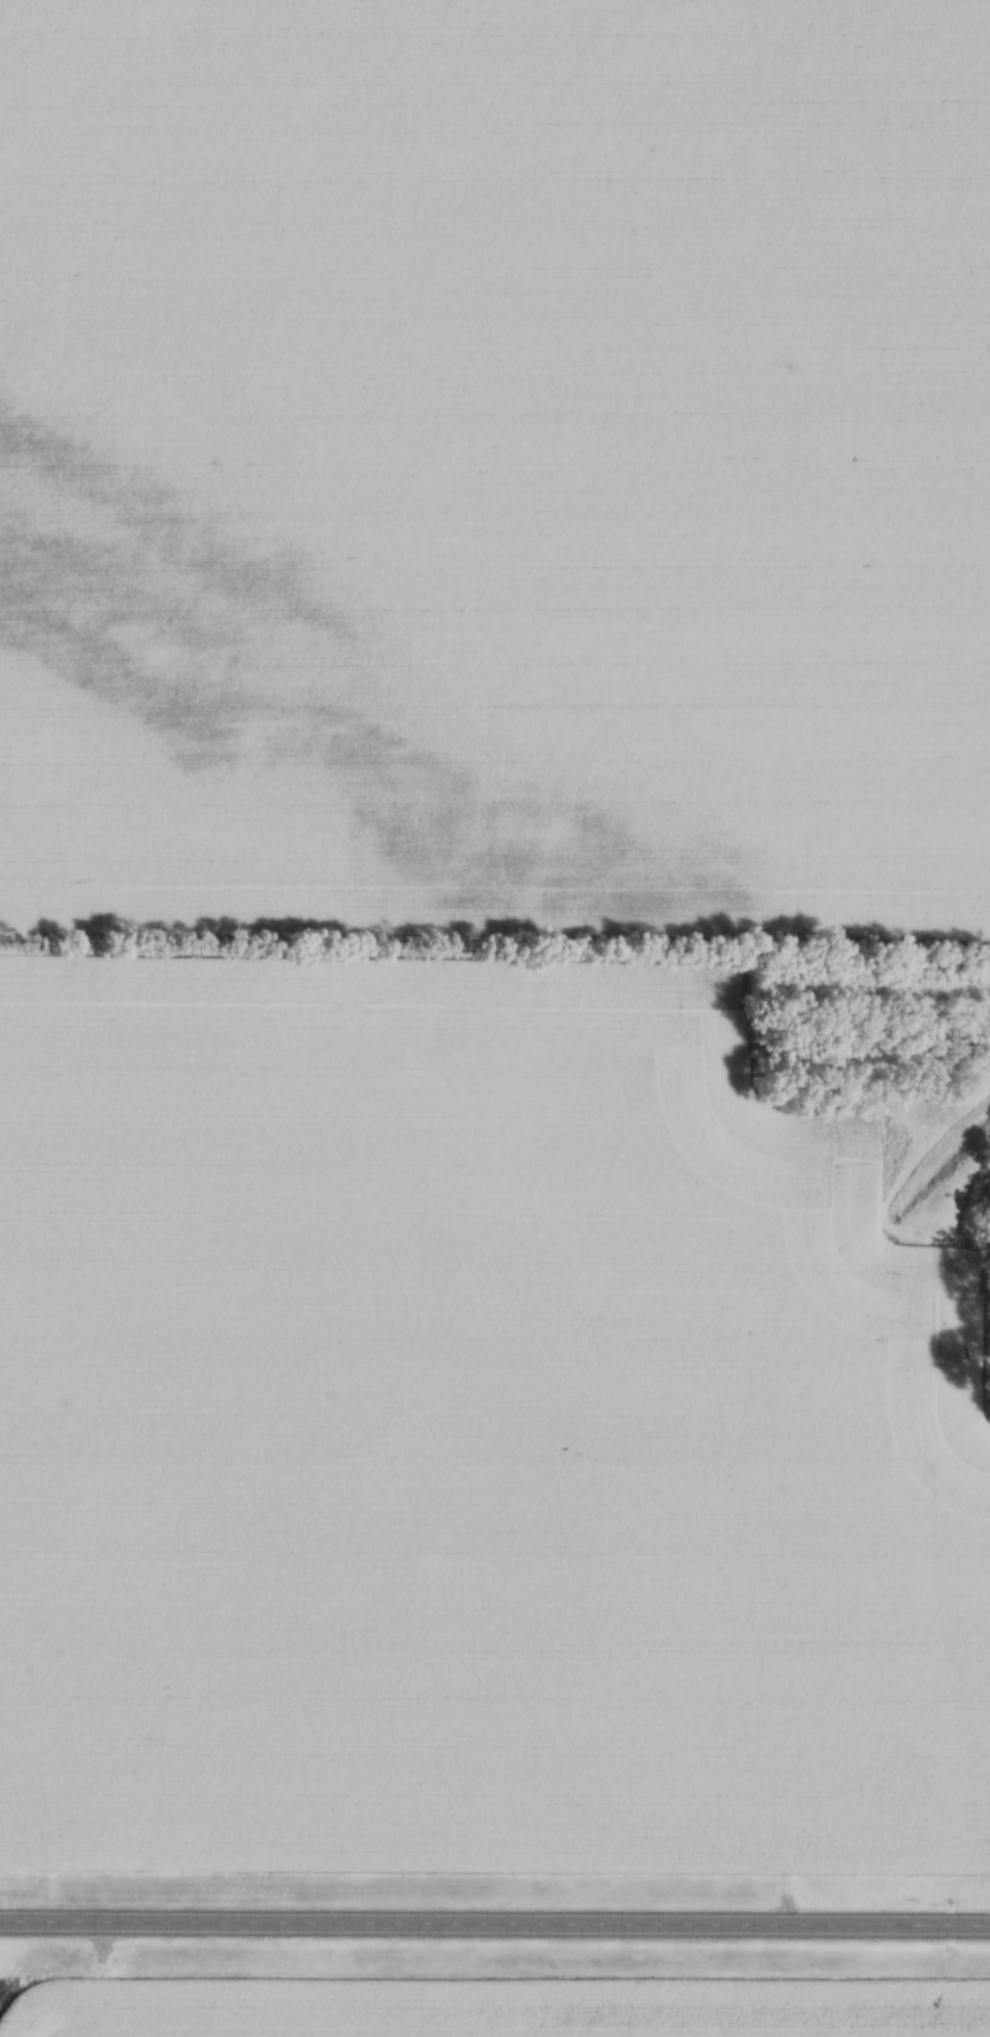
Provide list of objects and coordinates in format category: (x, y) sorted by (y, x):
road: (495, 1921)

